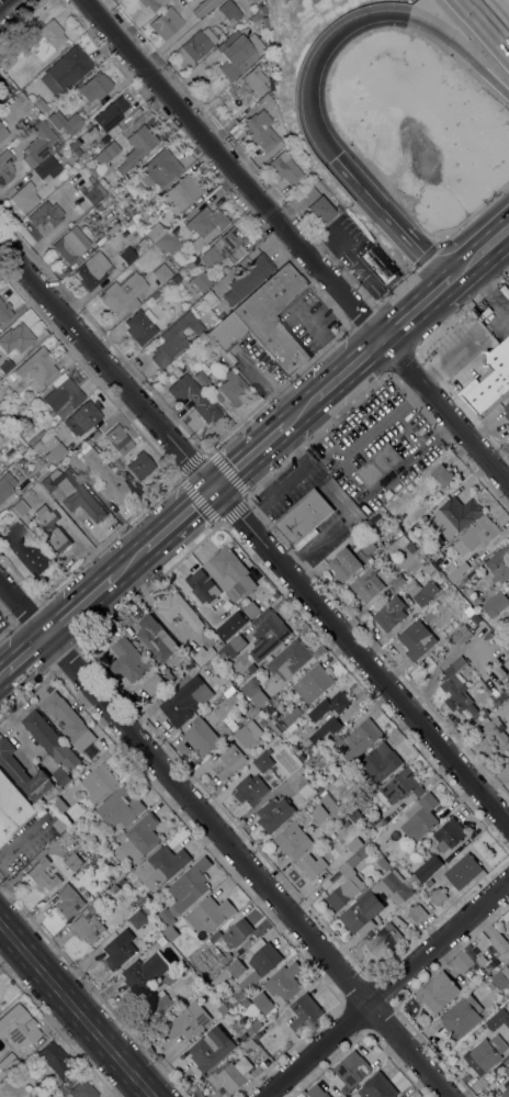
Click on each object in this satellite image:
building: (152, 3)
road: (5, 4)
building: (203, 7)
building: (229, 11)
building: (257, 15)
road: (491, 19)
building: (265, 21)
building: (166, 22)
building: (48, 38)
building: (197, 44)
building: (239, 53)
building: (4, 58)
building: (65, 69)
road: (309, 74)
building: (20, 77)
building: (256, 79)
building: (94, 86)
building: (21, 97)
building: (111, 113)
building: (65, 121)
building: (261, 130)
building: (3, 132)
building: (87, 134)
building: (38, 143)
building: (73, 143)
building: (137, 146)
building: (77, 150)
building: (106, 152)
building: (56, 155)
building: (5, 166)
building: (47, 168)
building: (286, 168)
building: (93, 169)
building: (158, 169)
building: (94, 191)
building: (181, 191)
building: (24, 197)
building: (316, 204)
building: (129, 209)
building: (45, 217)
building: (205, 225)
building: (112, 227)
building: (155, 232)
building: (140, 238)
road: (478, 238)
building: (169, 242)
road: (296, 243)
building: (70, 244)
building: (225, 244)
building: (127, 255)
building: (196, 259)
building: (380, 267)
building: (93, 269)
road: (477, 270)
building: (161, 272)
building: (216, 277)
building: (176, 278)
building: (248, 278)
building: (201, 280)
building: (123, 293)
building: (155, 294)
building: (210, 299)
road: (410, 301)
building: (4, 311)
building: (273, 317)
building: (142, 325)
road: (416, 325)
building: (226, 332)
building: (18, 336)
building: (174, 338)
building: (500, 352)
building: (4, 362)
building: (38, 367)
road: (348, 370)
building: (11, 374)
building: (202, 377)
building: (233, 387)
building: (63, 395)
building: (194, 396)
building: (506, 410)
road: (298, 413)
building: (82, 417)
building: (13, 419)
building: (94, 434)
building: (118, 438)
building: (33, 439)
building: (21, 447)
building: (53, 447)
road: (248, 458)
railway: (255, 459)
building: (116, 462)
building: (378, 464)
building: (137, 467)
building: (442, 475)
building: (106, 477)
building: (5, 484)
building: (410, 486)
building: (73, 492)
building: (20, 506)
building: (455, 516)
building: (303, 518)
road: (179, 519)
building: (50, 528)
building: (477, 535)
road: (253, 536)
building: (398, 545)
building: (363, 548)
building: (26, 549)
road: (128, 562)
building: (344, 563)
building: (498, 564)
building: (430, 569)
building: (457, 571)
building: (231, 573)
building: (399, 578)
building: (367, 584)
building: (443, 585)
building: (202, 586)
building: (422, 591)
building: (451, 593)
building: (276, 594)
building: (495, 604)
road: (78, 606)
building: (251, 609)
building: (179, 611)
building: (389, 614)
building: (475, 618)
building: (269, 636)
building: (461, 636)
building: (156, 638)
building: (416, 641)
building: (235, 646)
building: (508, 647)
building: (319, 652)
road: (25, 653)
building: (203, 654)
building: (127, 660)
building: (182, 660)
building: (289, 660)
building: (251, 668)
road: (2, 674)
building: (313, 683)
building: (154, 684)
building: (250, 686)
building: (460, 689)
building: (183, 698)
building: (259, 698)
building: (329, 707)
building: (293, 714)
building: (250, 715)
building: (68, 721)
building: (230, 723)
building: (328, 727)
building: (249, 732)
building: (206, 734)
building: (497, 735)
building: (362, 738)
building: (50, 740)
building: (336, 741)
building: (227, 759)
building: (263, 761)
building: (381, 761)
building: (359, 772)
building: (23, 773)
building: (61, 775)
building: (99, 782)
building: (301, 784)
building: (399, 786)
building: (251, 788)
building: (58, 804)
building: (331, 805)
building: (12, 807)
building: (120, 807)
building: (75, 810)
building: (274, 813)
building: (319, 814)
building: (420, 817)
building: (305, 818)
building: (346, 824)
building: (59, 825)
building: (69, 833)
building: (450, 833)
building: (293, 839)
building: (138, 840)
road: (223, 840)
road: (20, 841)
building: (354, 844)
building: (333, 852)
building: (73, 861)
building: (350, 863)
building: (383, 864)
building: (312, 865)
building: (161, 866)
building: (428, 867)
building: (463, 871)
building: (42, 874)
building: (118, 875)
building: (429, 883)
building: (190, 885)
building: (346, 892)
building: (438, 896)
building: (142, 897)
building: (68, 900)
building: (374, 903)
building: (129, 906)
building: (210, 914)
building: (418, 914)
building: (167, 916)
building: (137, 919)
building: (507, 926)
building: (87, 927)
building: (237, 932)
building: (171, 933)
building: (384, 939)
building: (161, 940)
building: (498, 942)
building: (468, 947)
building: (117, 951)
building: (196, 958)
building: (482, 960)
building: (463, 961)
building: (260, 962)
building: (145, 972)
building: (227, 973)
building: (501, 977)
building: (171, 980)
building: (284, 981)
building: (490, 986)
road: (386, 989)
building: (438, 992)
building: (159, 1003)
building: (245, 1003)
building: (229, 1004)
building: (264, 1004)
road: (77, 1009)
building: (224, 1009)
building: (304, 1012)
building: (461, 1017)
building: (499, 1018)
building: (186, 1020)
building: (18, 1027)
building: (236, 1027)
building: (251, 1029)
building: (257, 1036)
building: (242, 1037)
building: (211, 1049)
building: (255, 1049)
building: (488, 1052)
building: (55, 1060)
building: (8, 1061)
building: (352, 1068)
building: (257, 1071)
building: (226, 1077)
building: (377, 1087)
building: (82, 1089)
building: (317, 1092)
building: (506, 1093)

